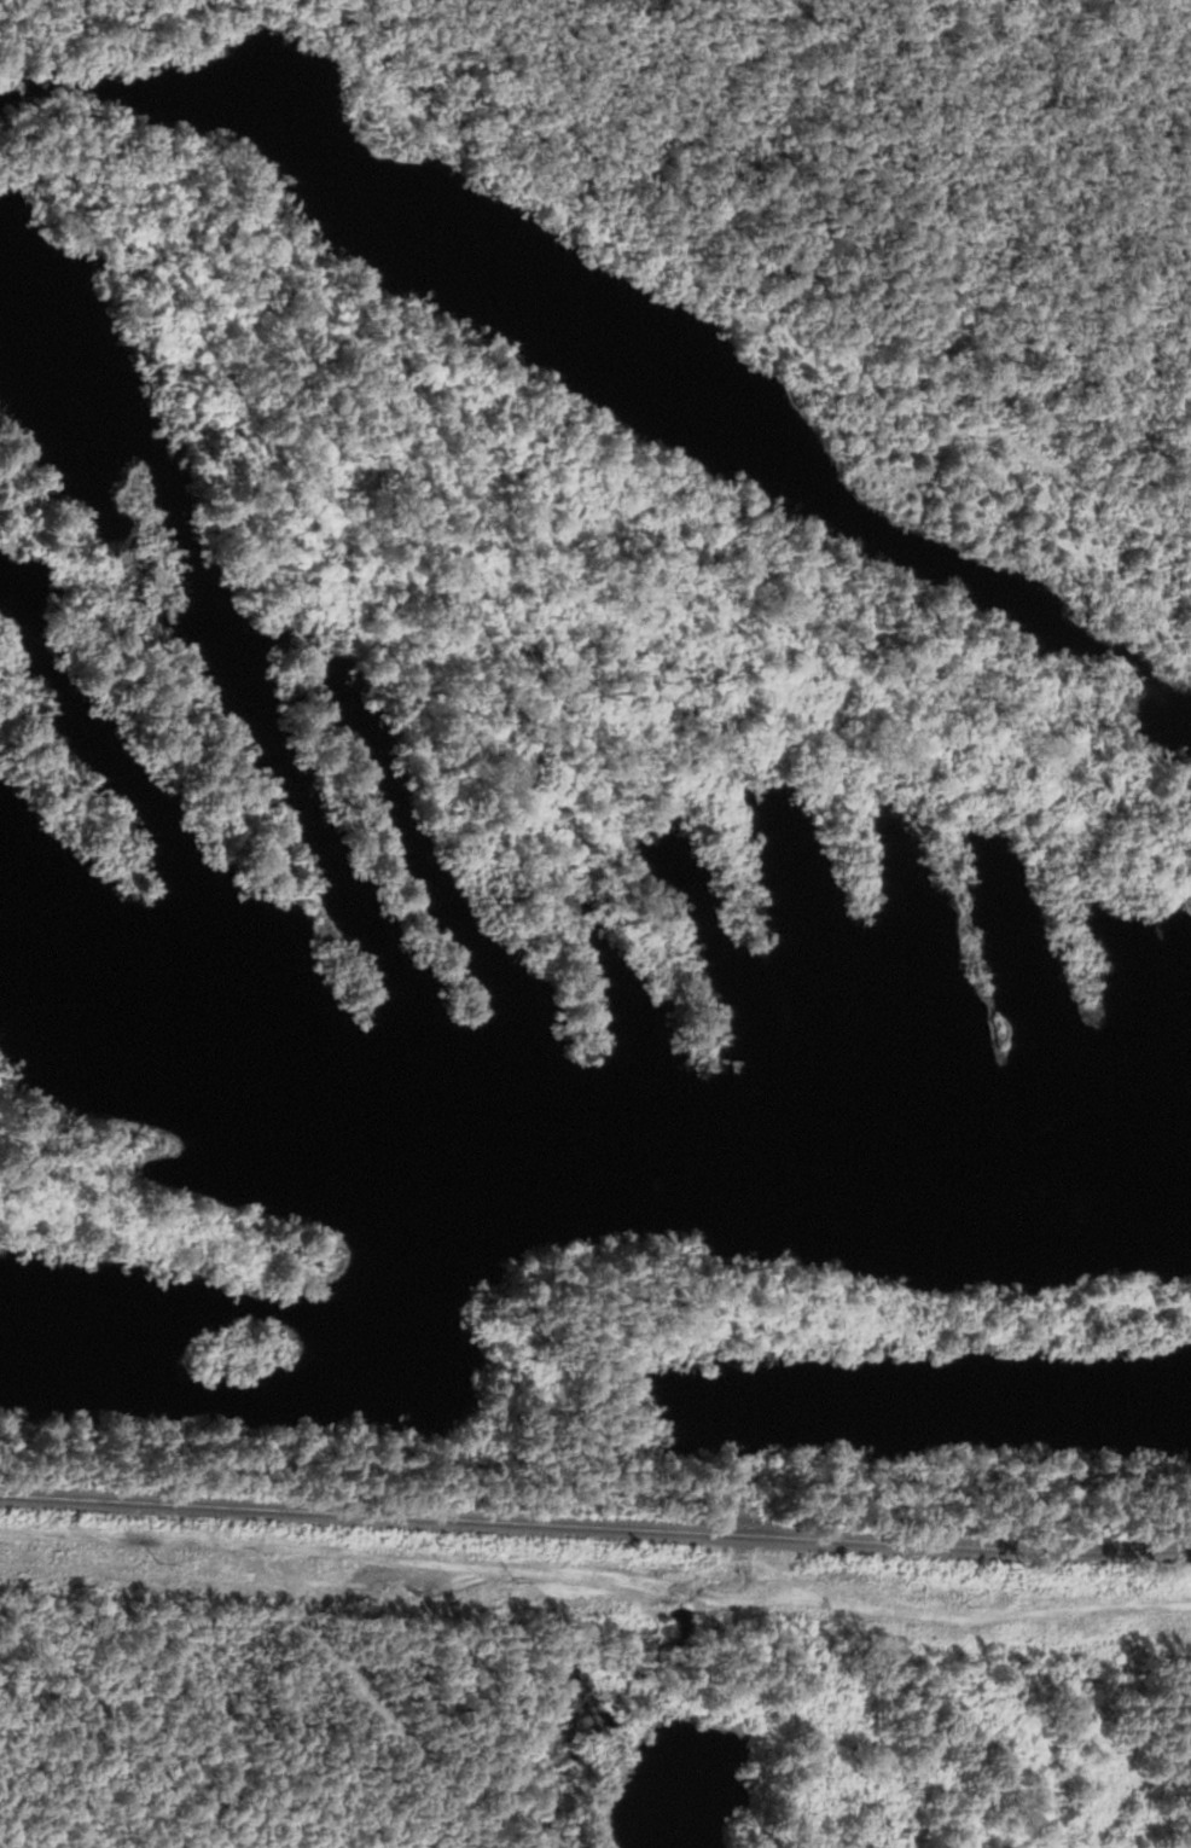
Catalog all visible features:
railway: (595, 1519)
power tower: (153, 1561)
power tower: (524, 1579)
power tower: (969, 1604)

